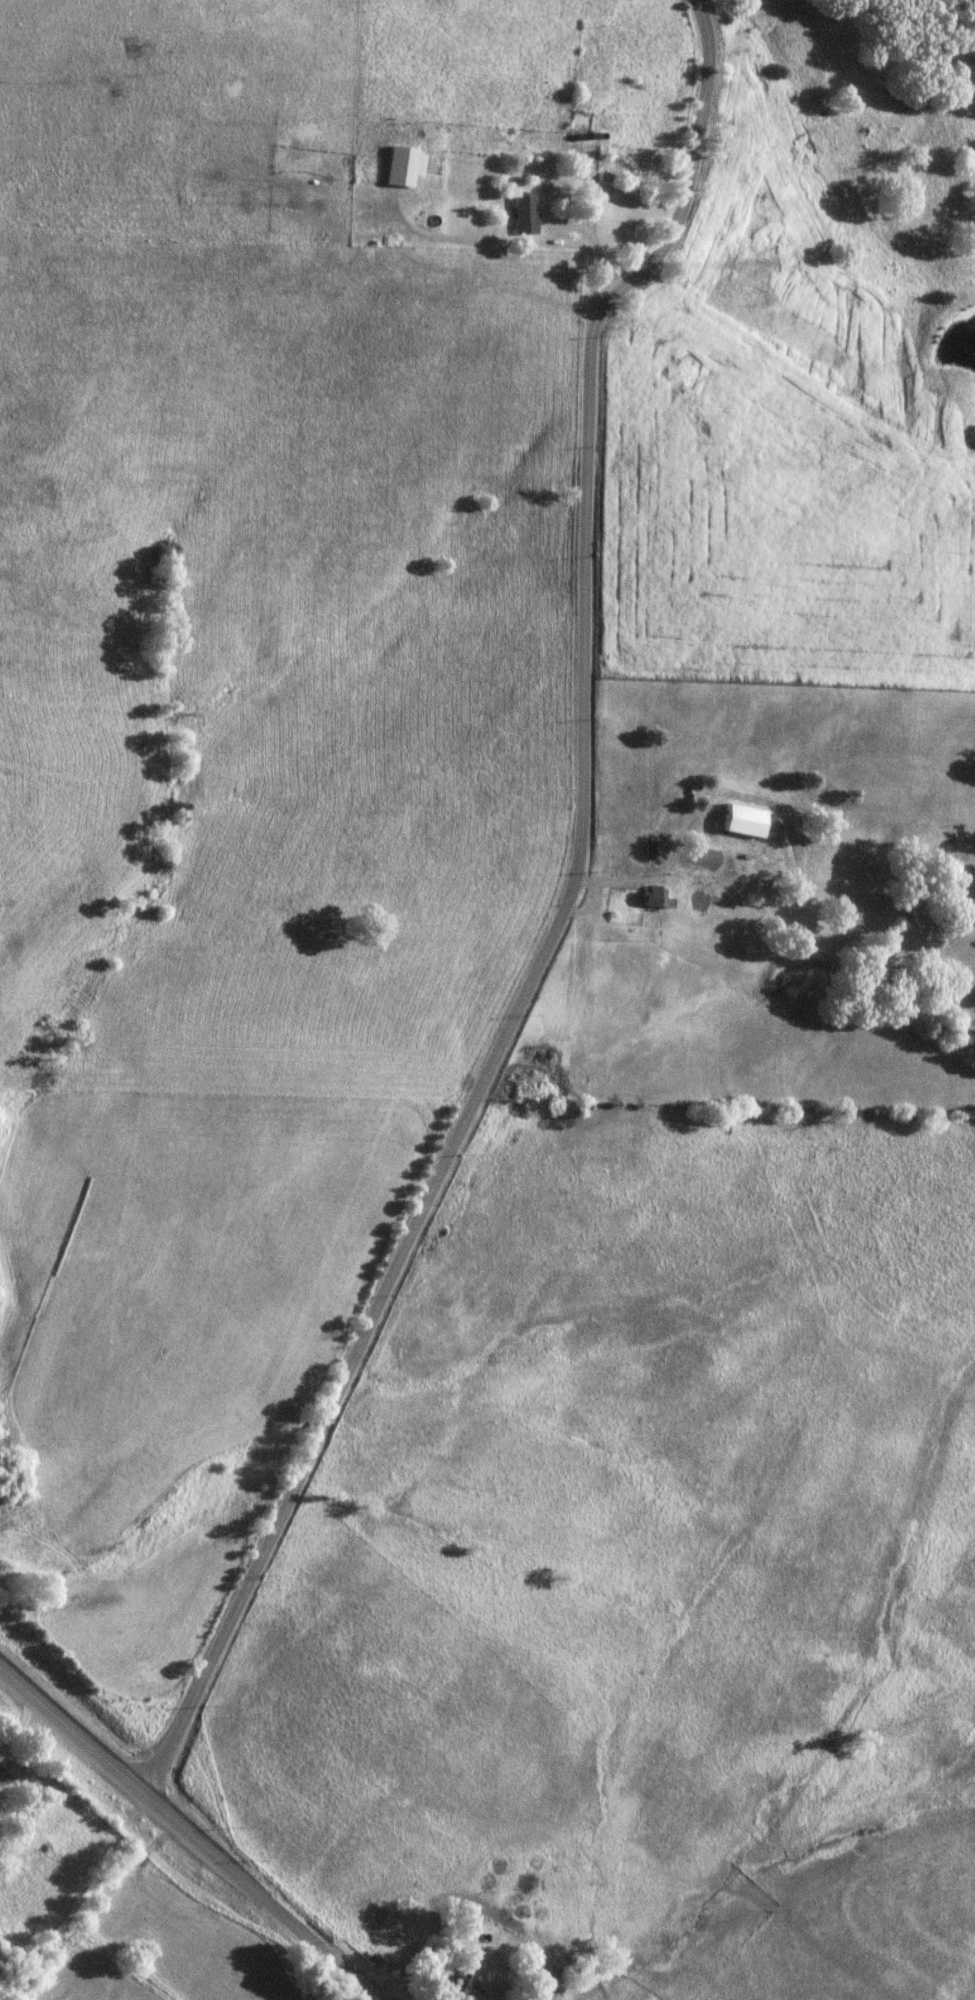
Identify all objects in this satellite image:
building: (574, 126)
building: (398, 166)
building: (519, 214)
road: (514, 239)
building: (743, 820)
building: (702, 860)
building: (653, 896)
road: (562, 924)
road: (21, 1725)
road: (189, 1831)
building: (451, 1979)

